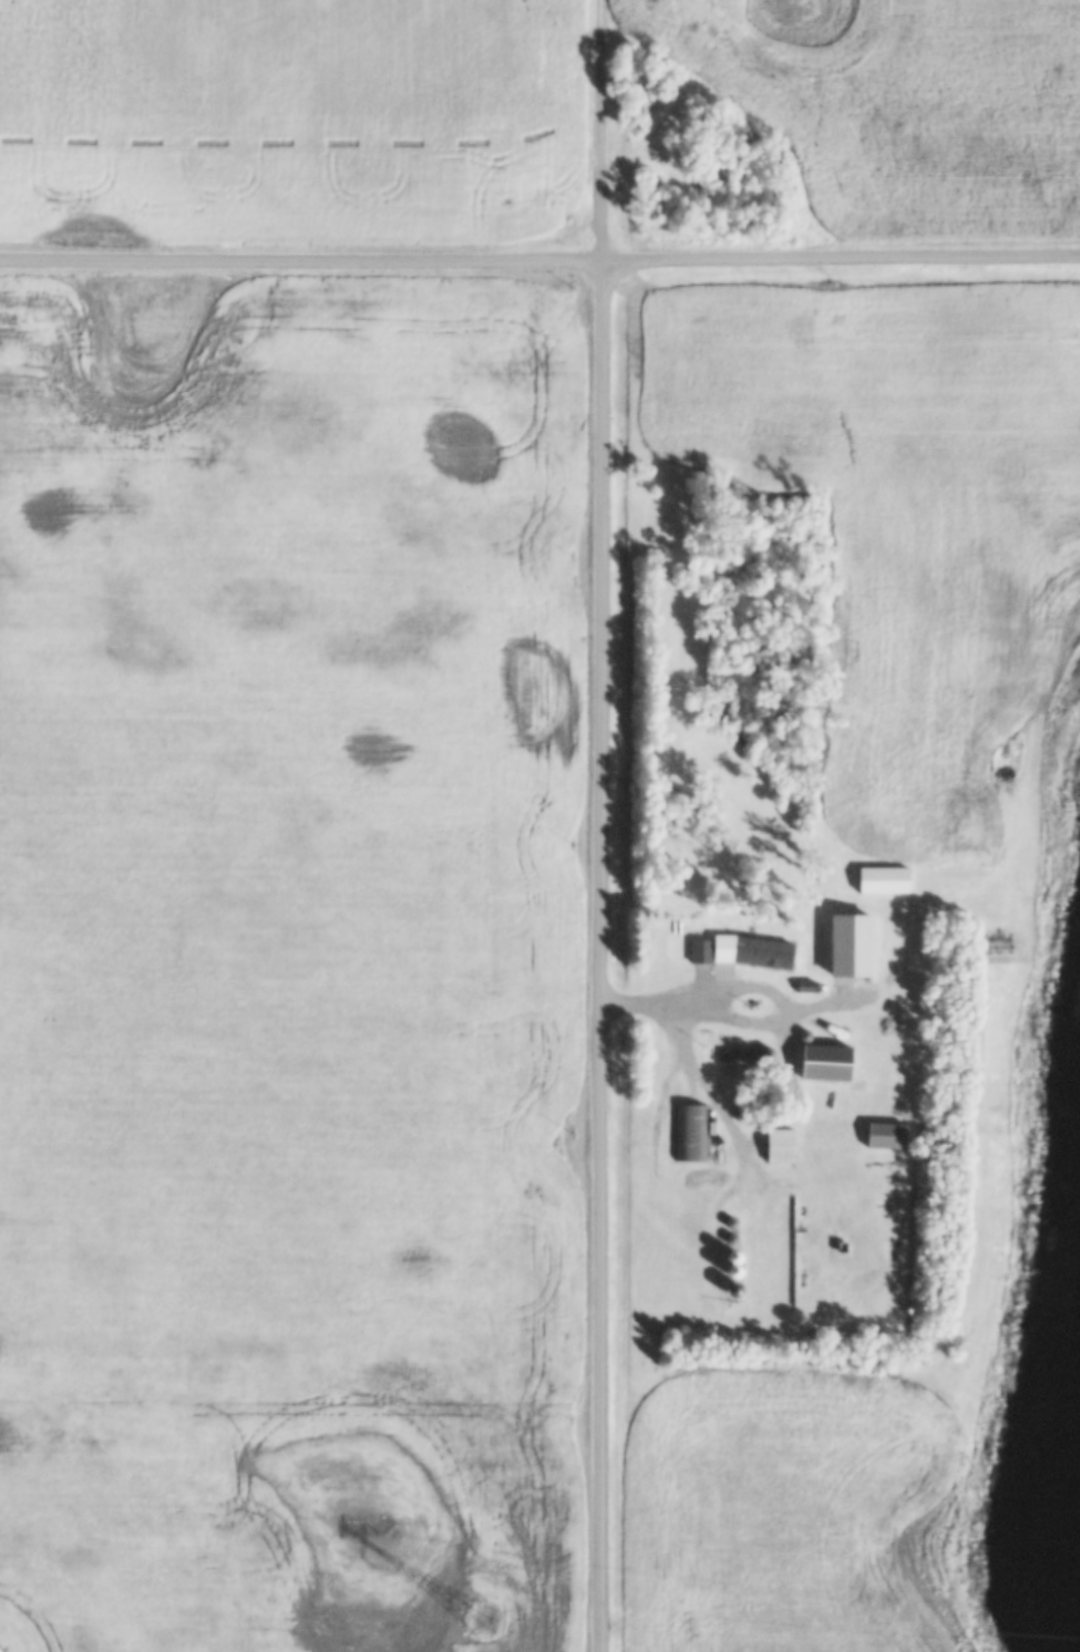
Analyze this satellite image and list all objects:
road: (604, 132)
road: (539, 264)
building: (883, 880)
building: (852, 946)
building: (741, 951)
road: (603, 957)
road: (749, 991)
building: (826, 1064)
building: (688, 1133)
building: (886, 1136)
road: (731, 1140)
building: (780, 1146)
power tower: (477, 1620)

